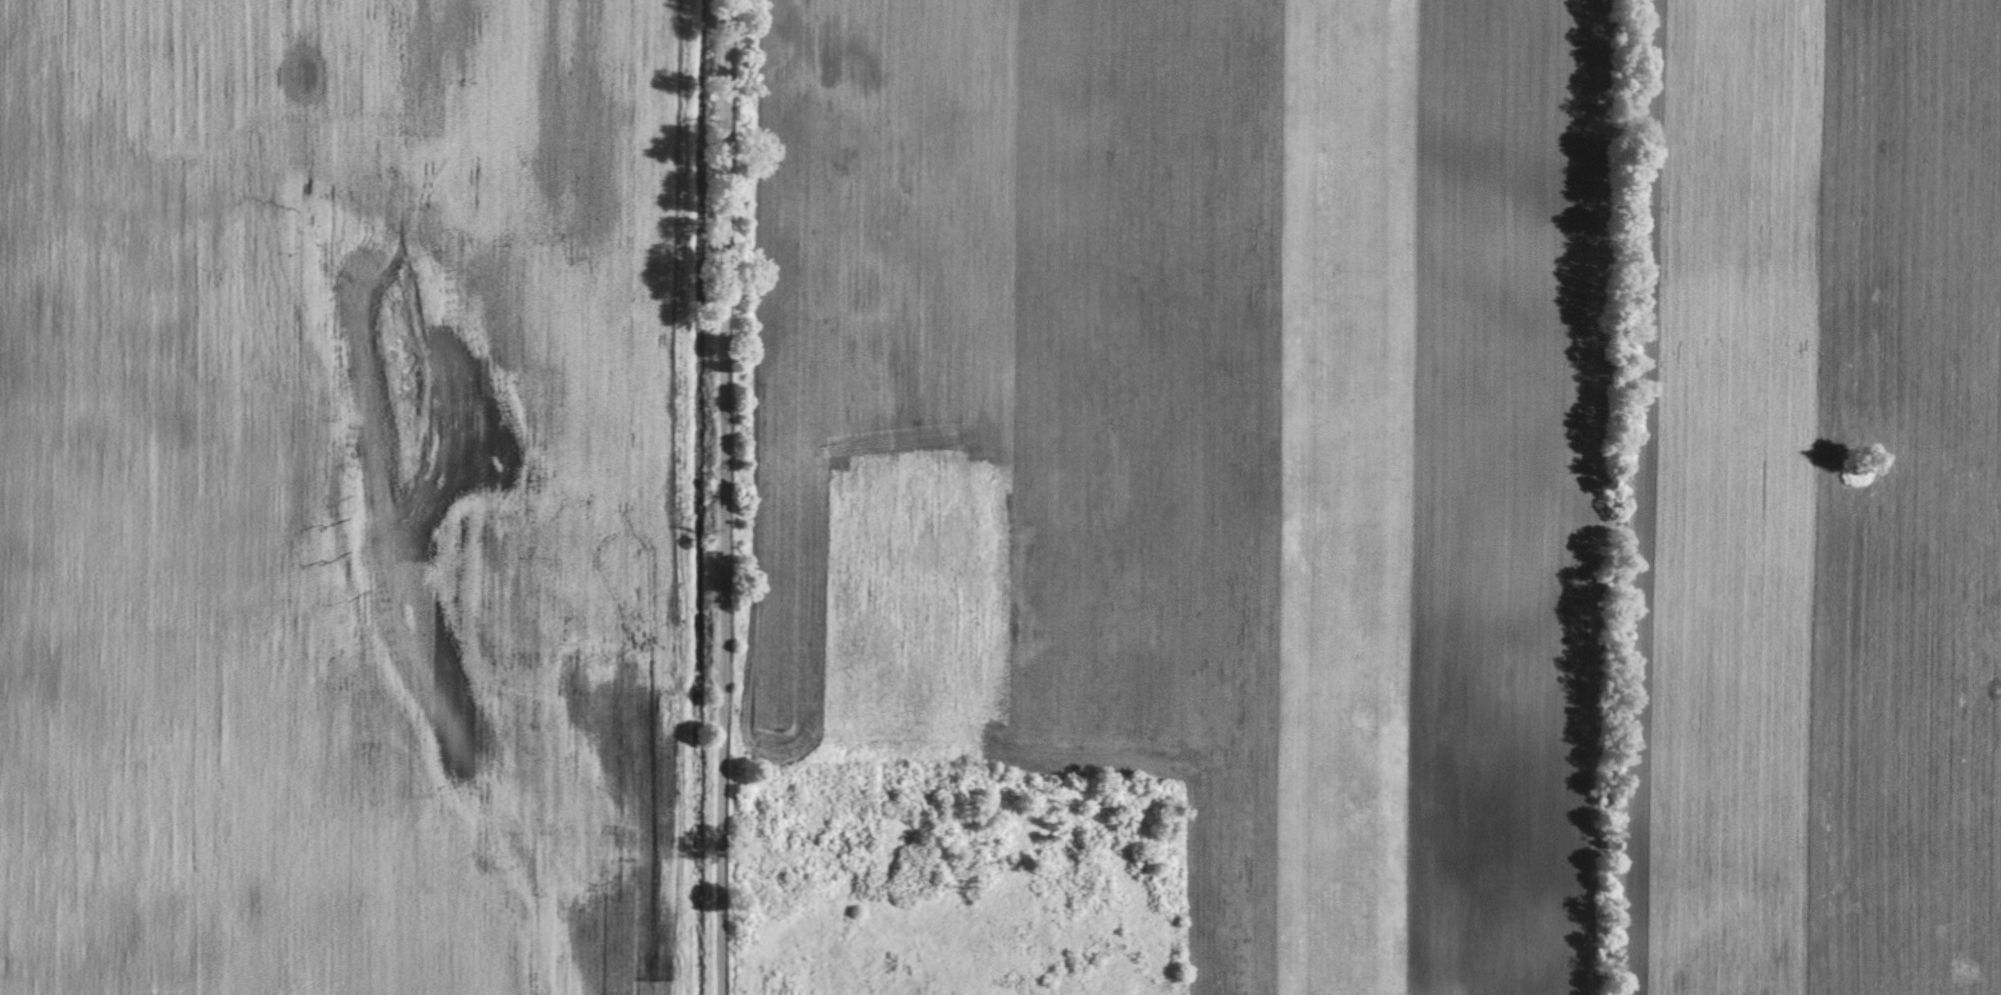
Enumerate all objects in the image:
road: (732, 497)

